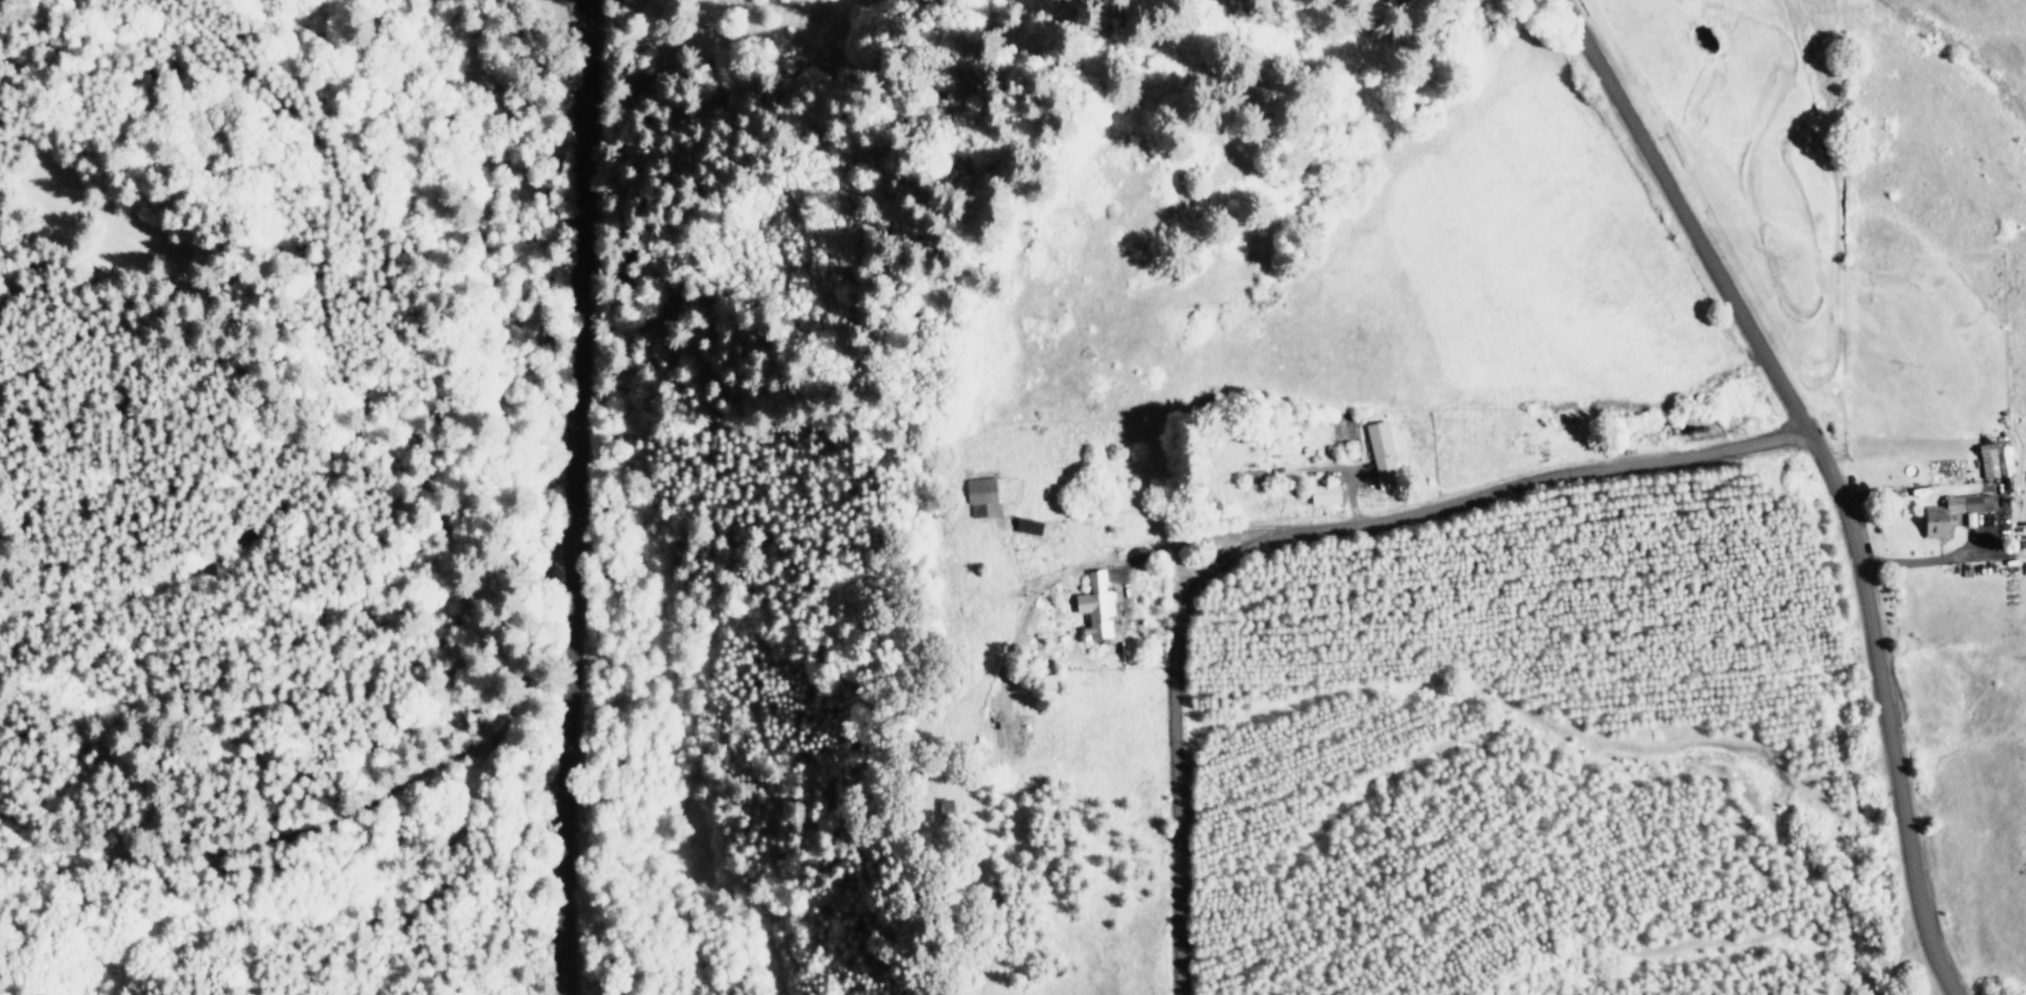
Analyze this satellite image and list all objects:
building: (851, 14)
crop: (1728, 349)
building: (1384, 449)
road: (1825, 470)
building: (985, 492)
road: (557, 496)
building: (1328, 496)
building: (1951, 515)
road: (1287, 534)
road: (1157, 547)
road: (1930, 562)
building: (1100, 608)
building: (1009, 737)

